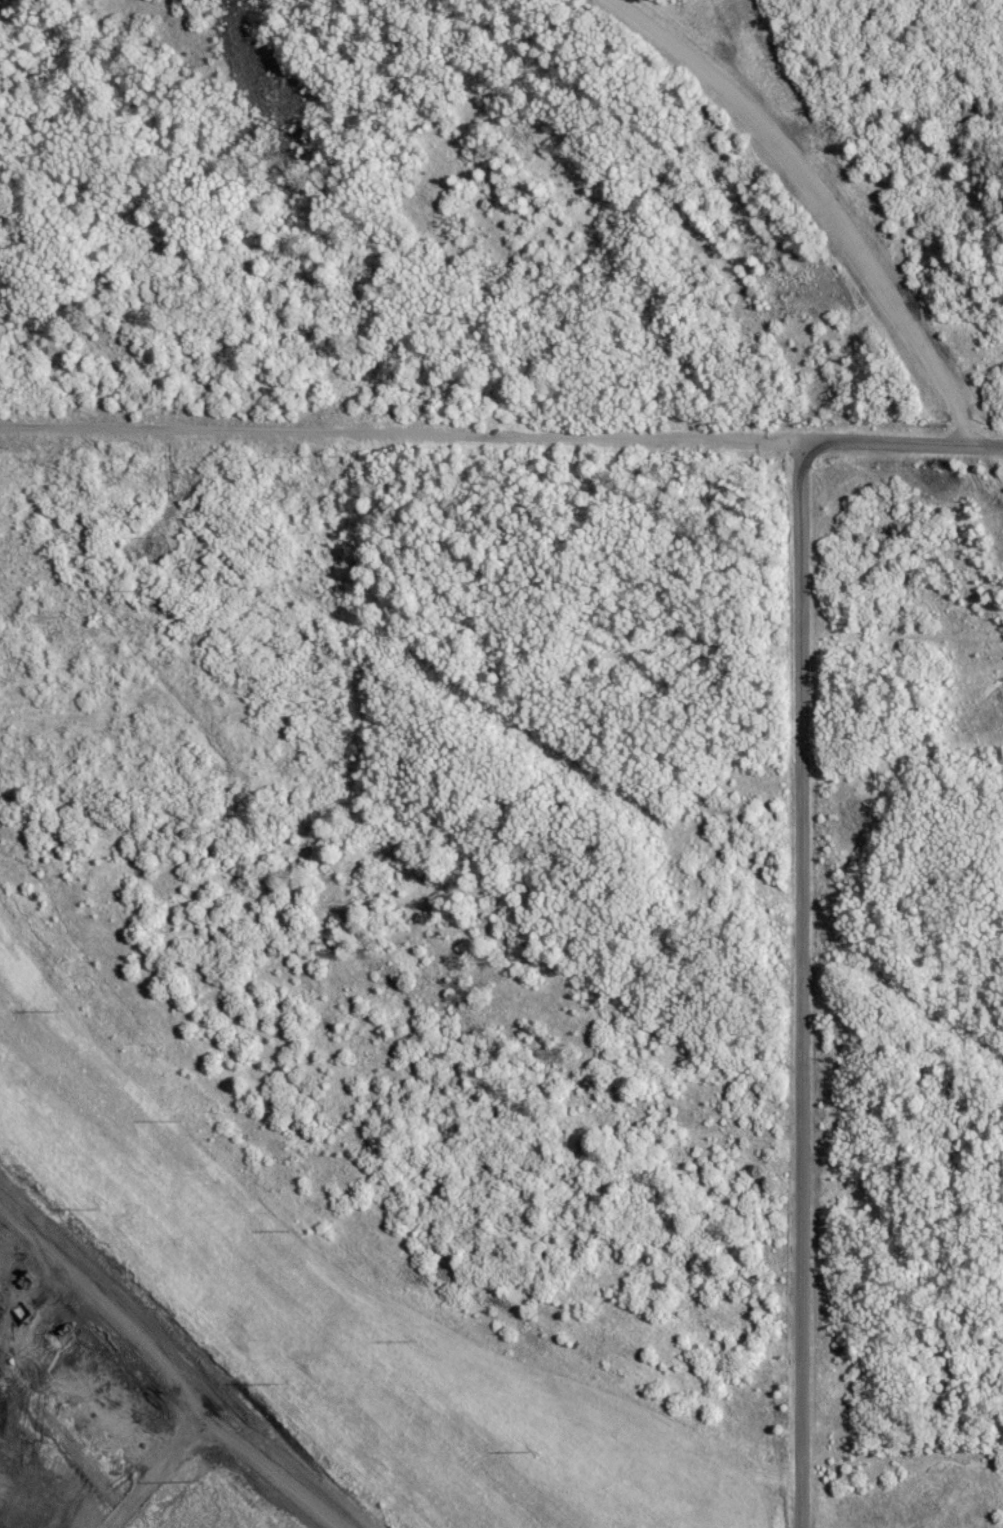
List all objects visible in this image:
road: (827, 202)
road: (501, 446)
road: (800, 990)
road: (172, 1377)
quarry: (105, 1424)

